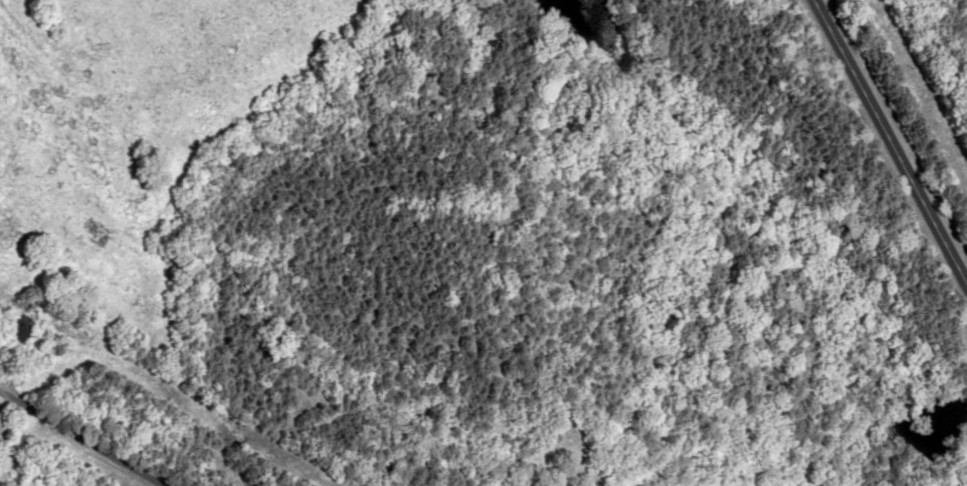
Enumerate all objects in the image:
road: (876, 156)
building: (15, 330)
building: (3, 429)
road: (78, 439)

